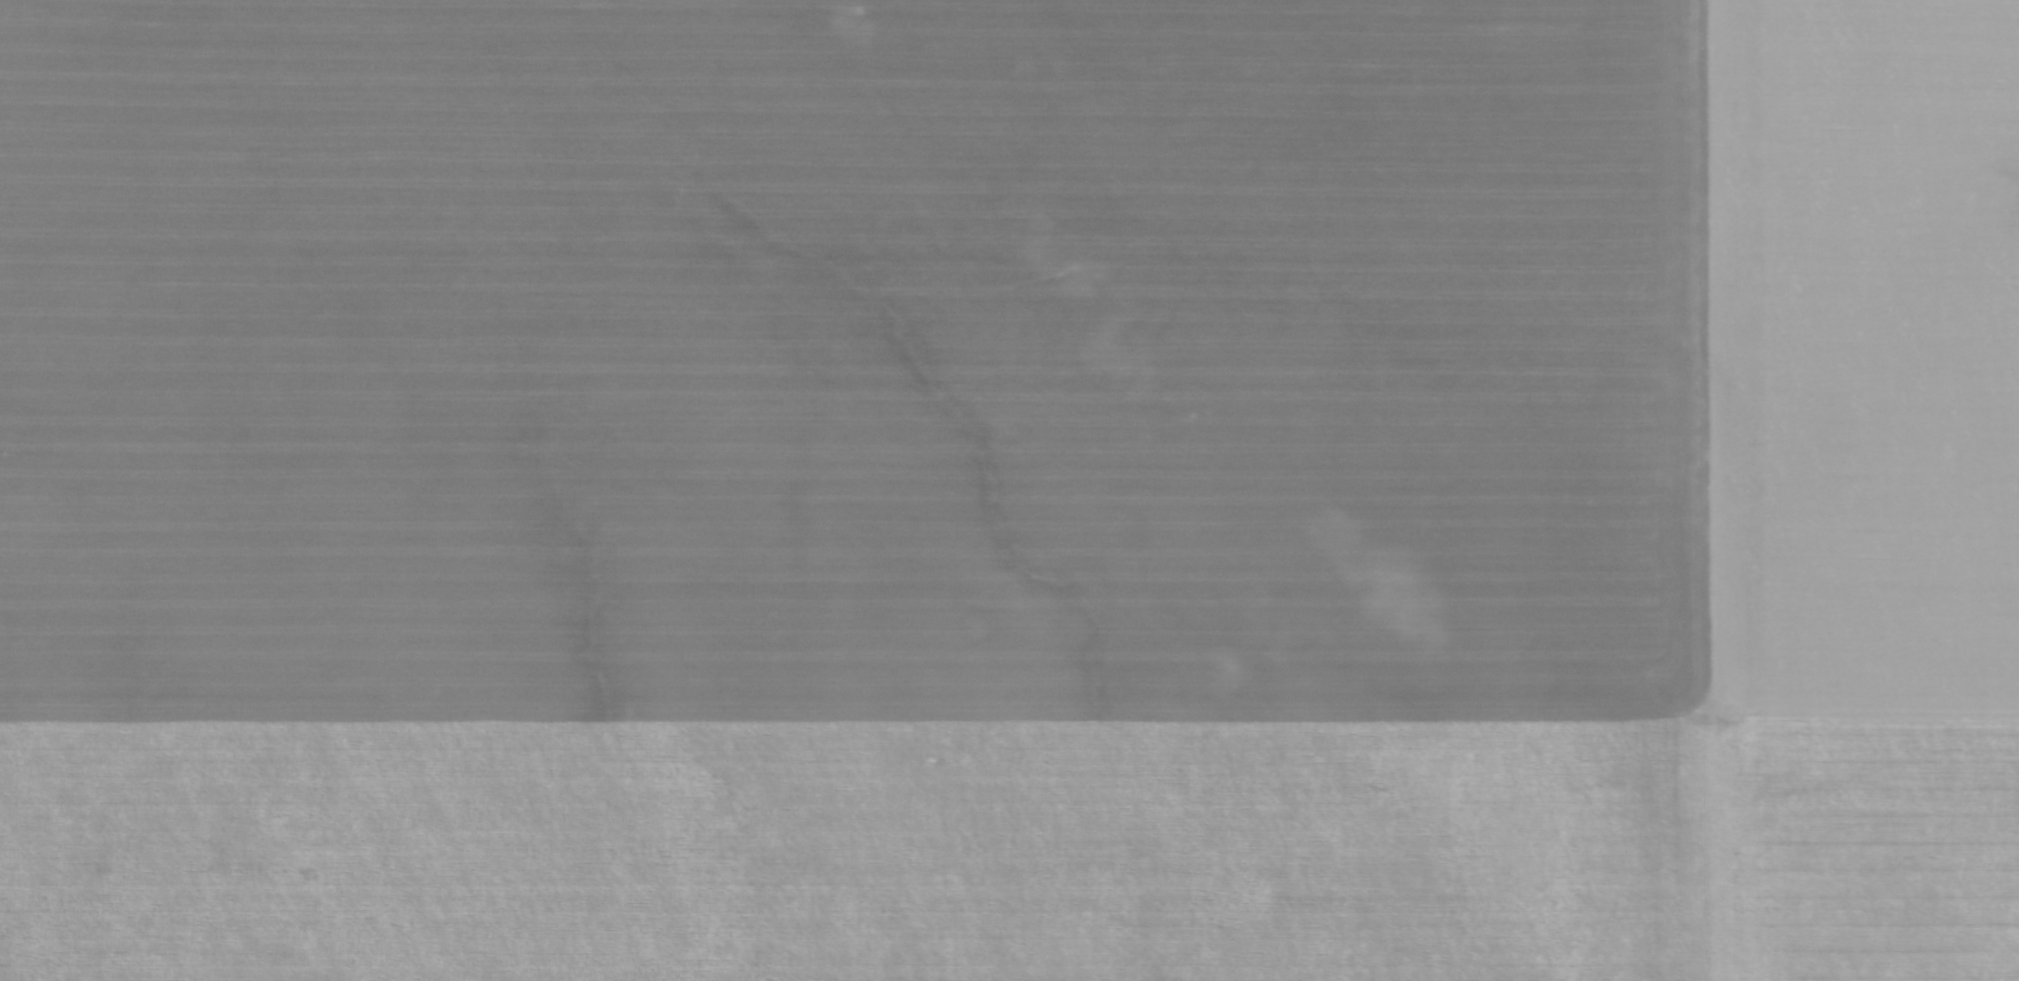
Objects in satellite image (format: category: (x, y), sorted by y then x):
crop: (1009, 490)

